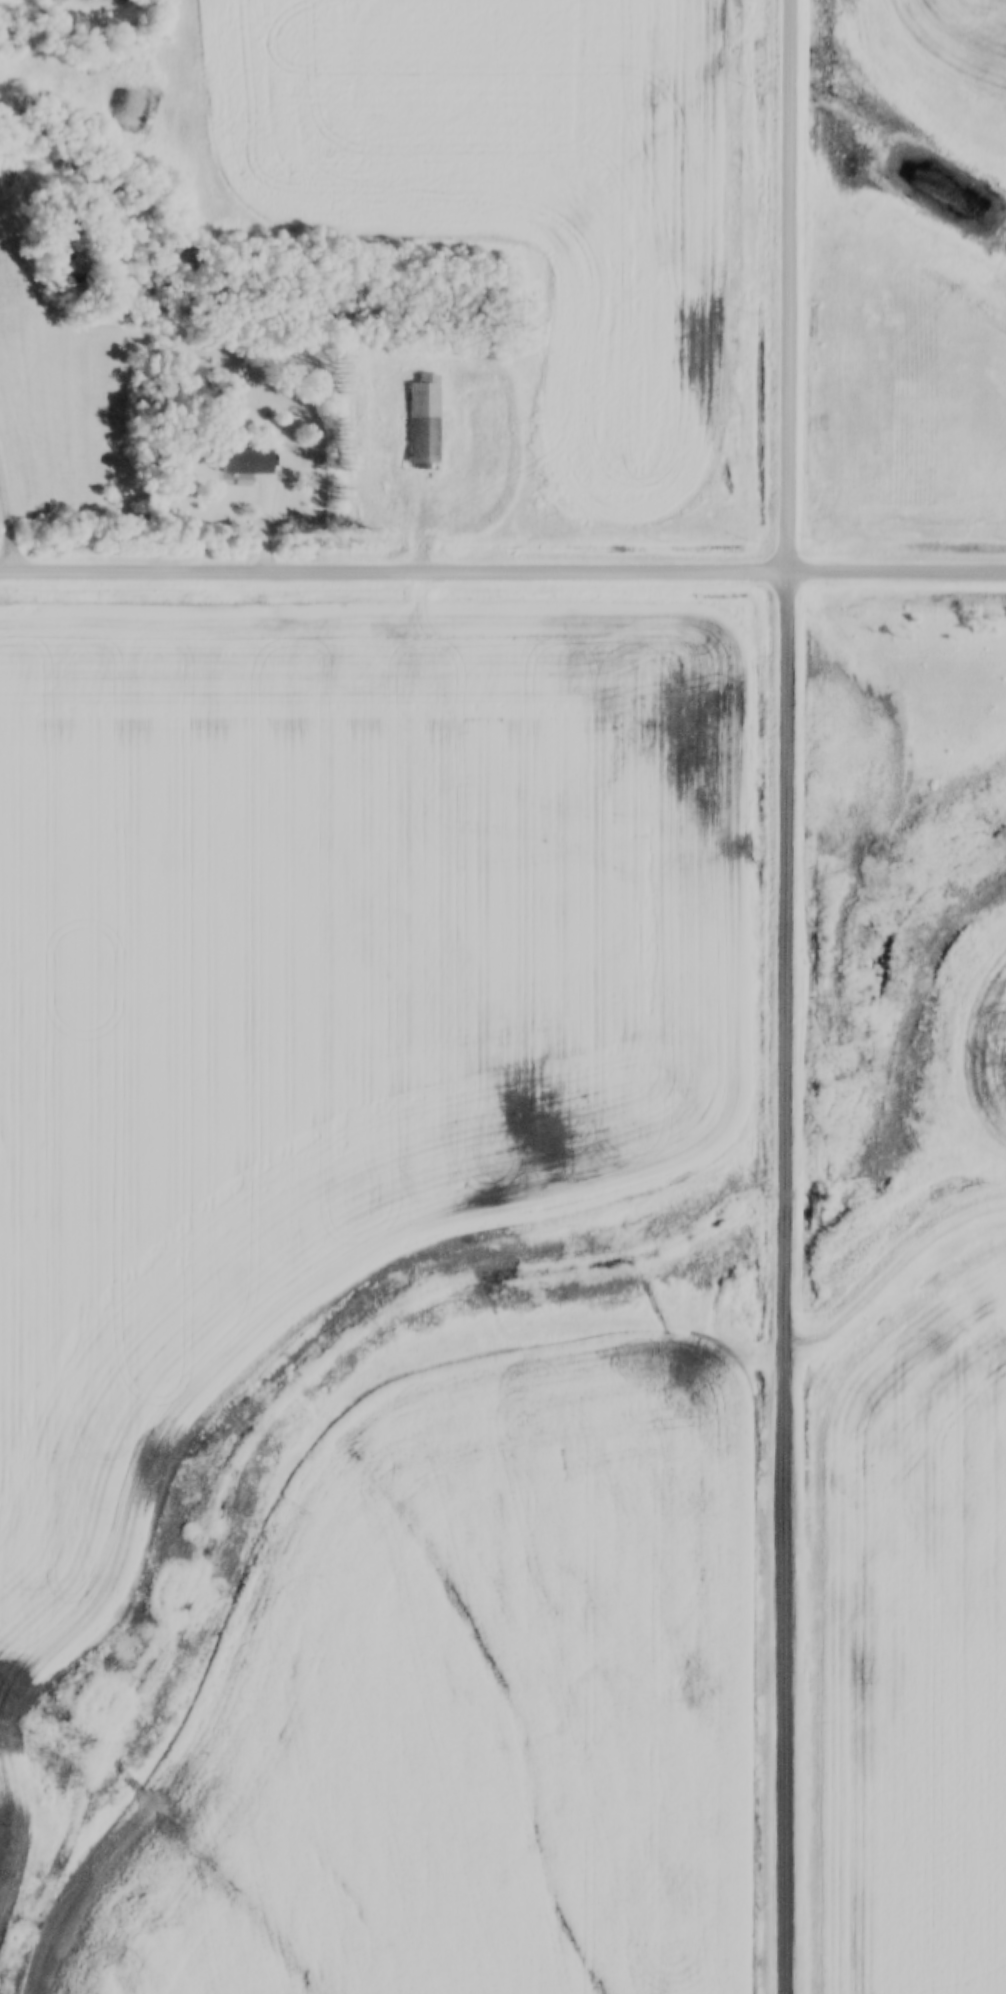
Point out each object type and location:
building: (424, 418)
building: (247, 456)
crop: (482, 1707)

